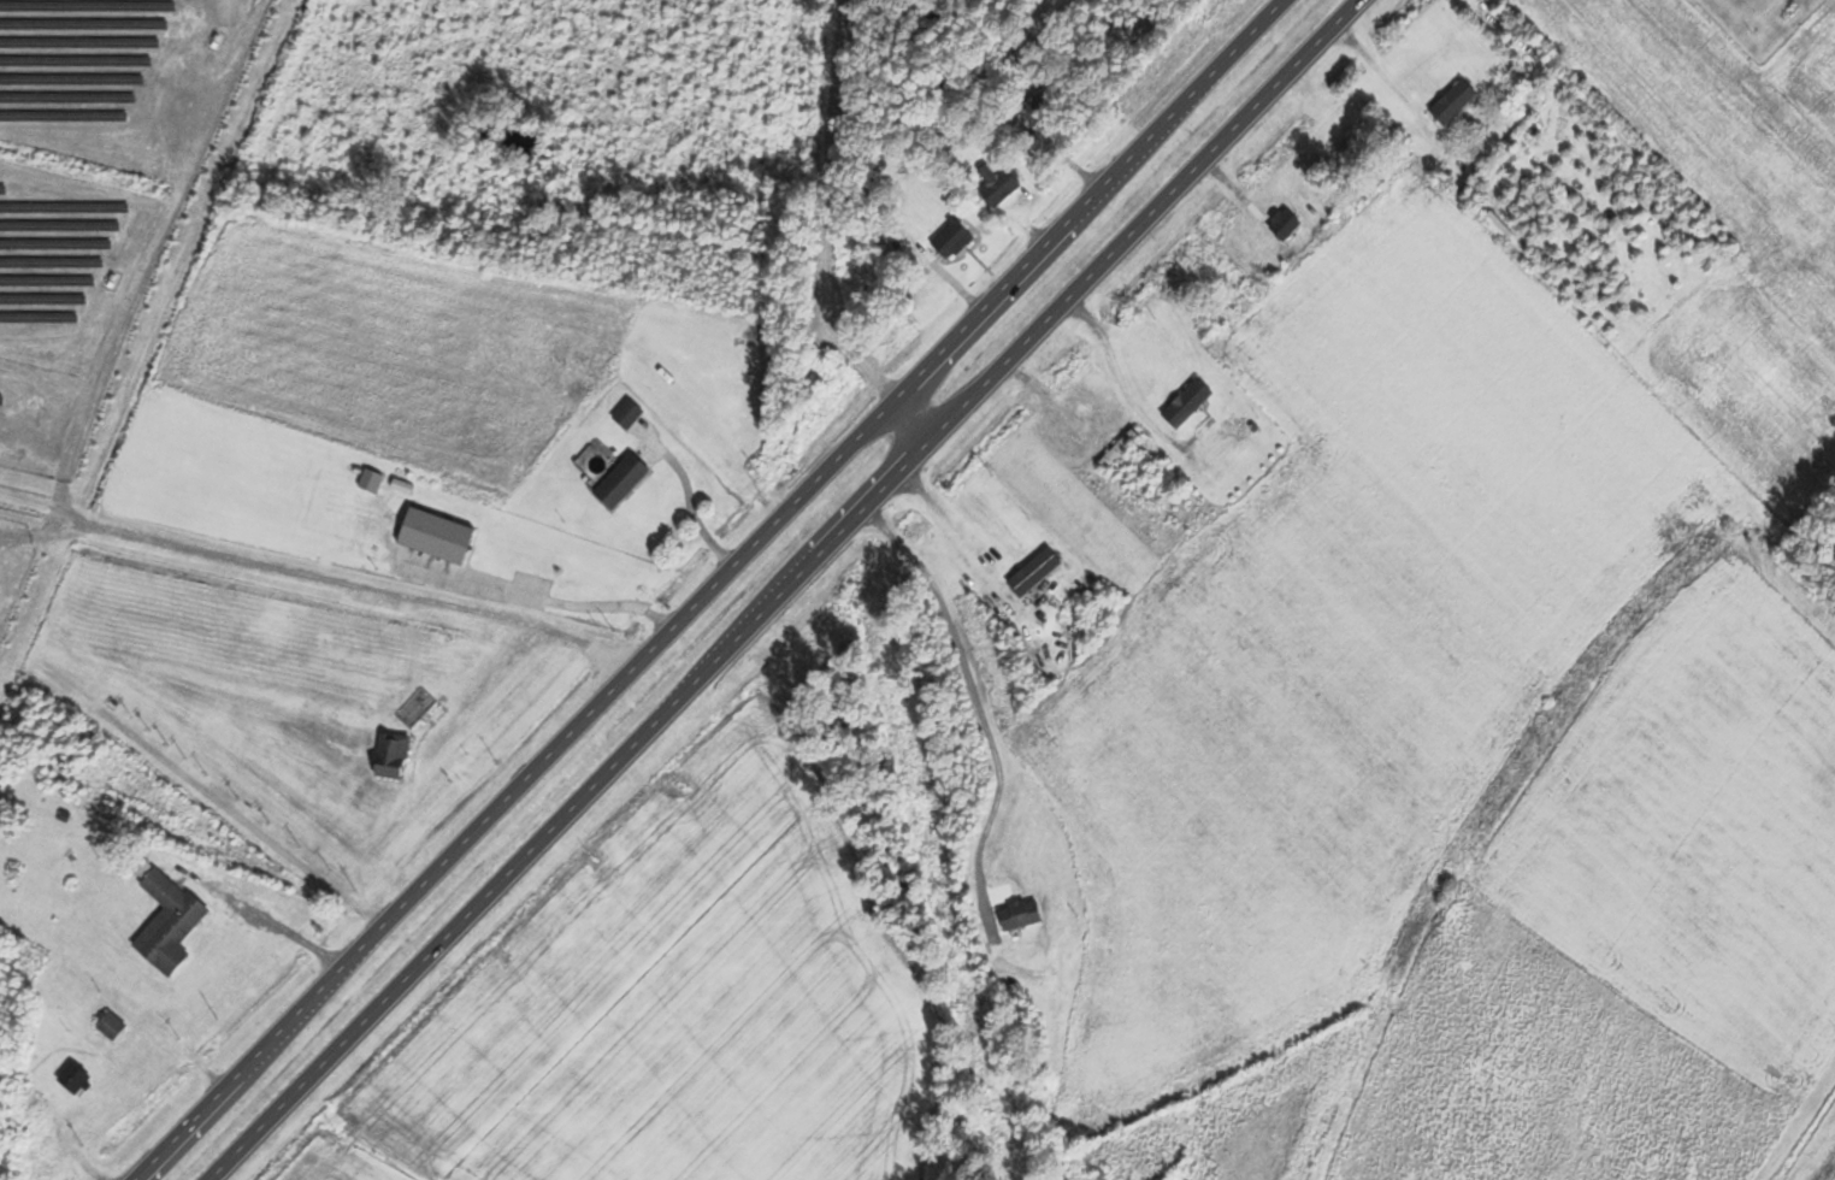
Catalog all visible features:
building: (1456, 100)
building: (1040, 104)
building: (1002, 187)
building: (1281, 222)
building: (1501, 224)
building: (955, 238)
road: (814, 243)
building: (1190, 402)
building: (631, 412)
building: (1120, 449)
building: (626, 479)
building: (439, 535)
building: (1038, 571)
road: (370, 589)
road: (707, 589)
road: (797, 590)
road: (538, 600)
building: (417, 707)
building: (395, 756)
building: (1022, 915)
building: (170, 919)
building: (114, 1026)
building: (78, 1078)
building: (1103, 1175)

